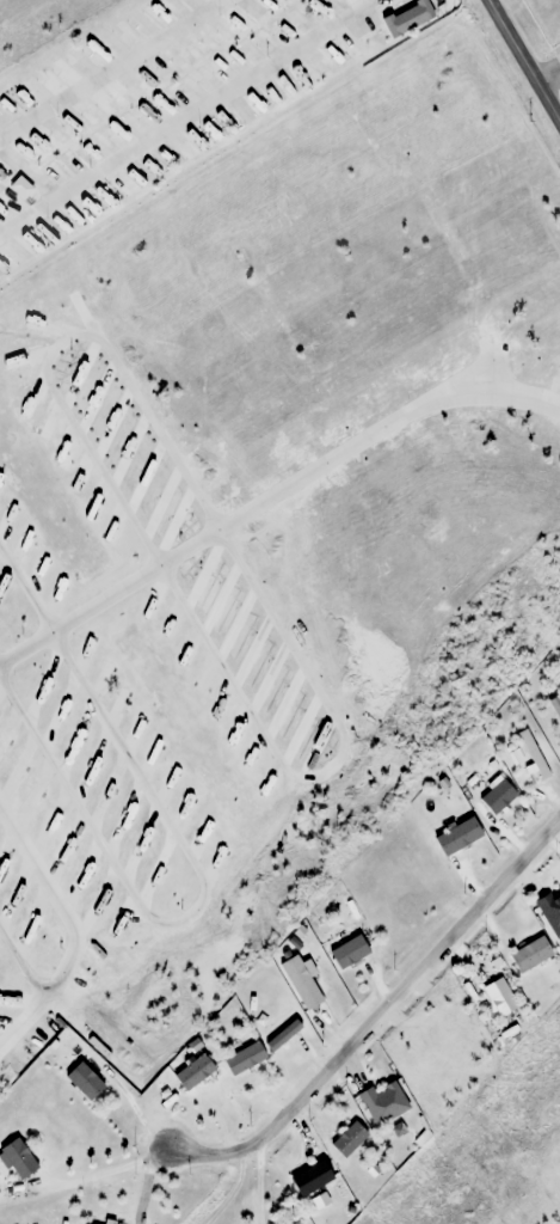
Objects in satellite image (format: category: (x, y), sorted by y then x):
building: (407, 13)
road: (522, 63)
road: (110, 67)
road: (547, 74)
road: (184, 115)
building: (550, 911)
building: (349, 953)
building: (530, 955)
building: (301, 983)
building: (500, 997)
road: (379, 1016)
building: (283, 1028)
building: (193, 1072)
building: (84, 1082)
building: (382, 1103)
building: (18, 1159)
building: (310, 1180)
building: (73, 1223)

